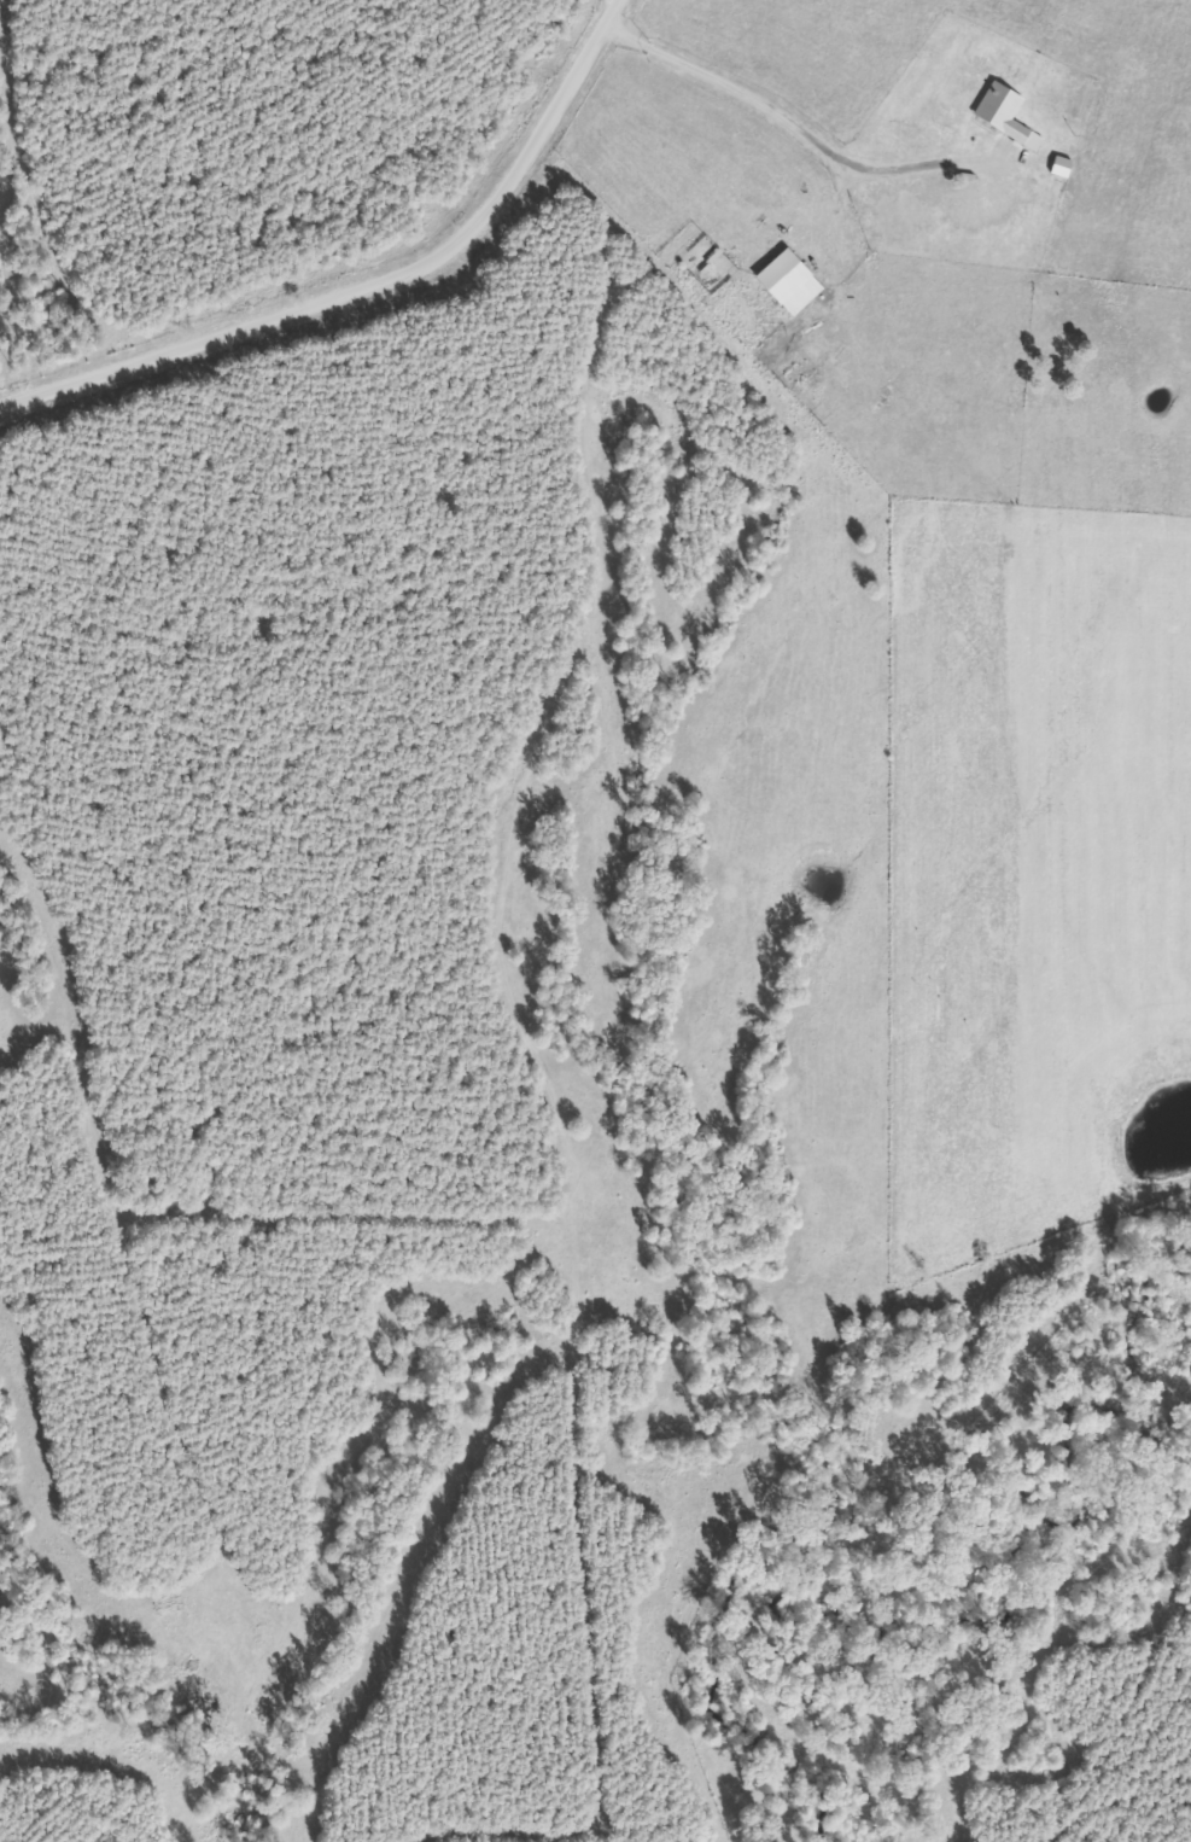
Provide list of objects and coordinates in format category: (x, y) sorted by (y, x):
building: (1010, 115)
building: (1066, 167)
building: (794, 282)
road: (372, 286)

